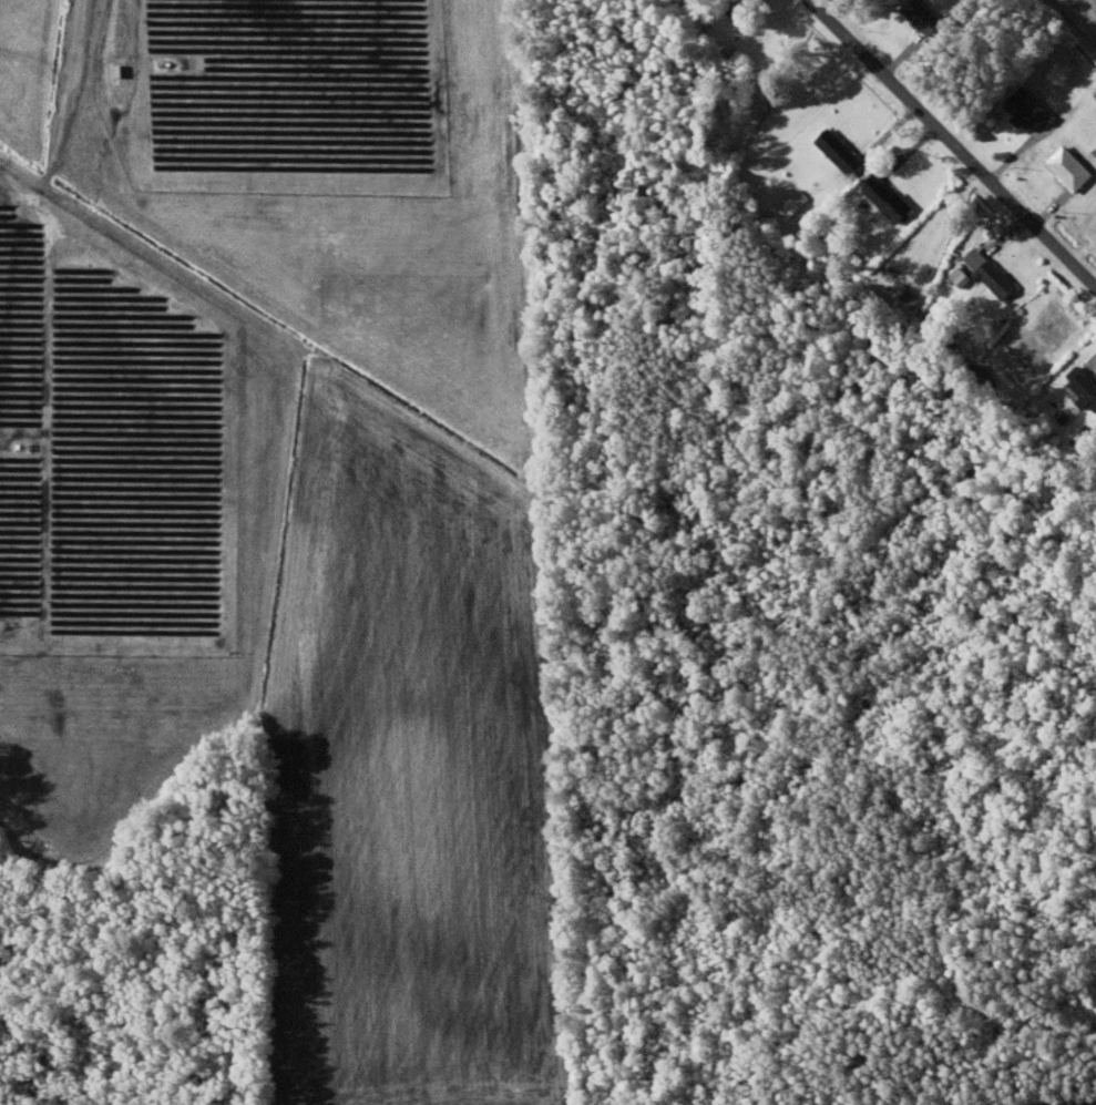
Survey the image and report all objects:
building: (739, 4)
building: (926, 16)
building: (1031, 109)
road: (954, 141)
building: (841, 149)
building: (1073, 166)
building: (893, 199)
building: (992, 270)
building: (962, 275)
building: (1083, 385)

